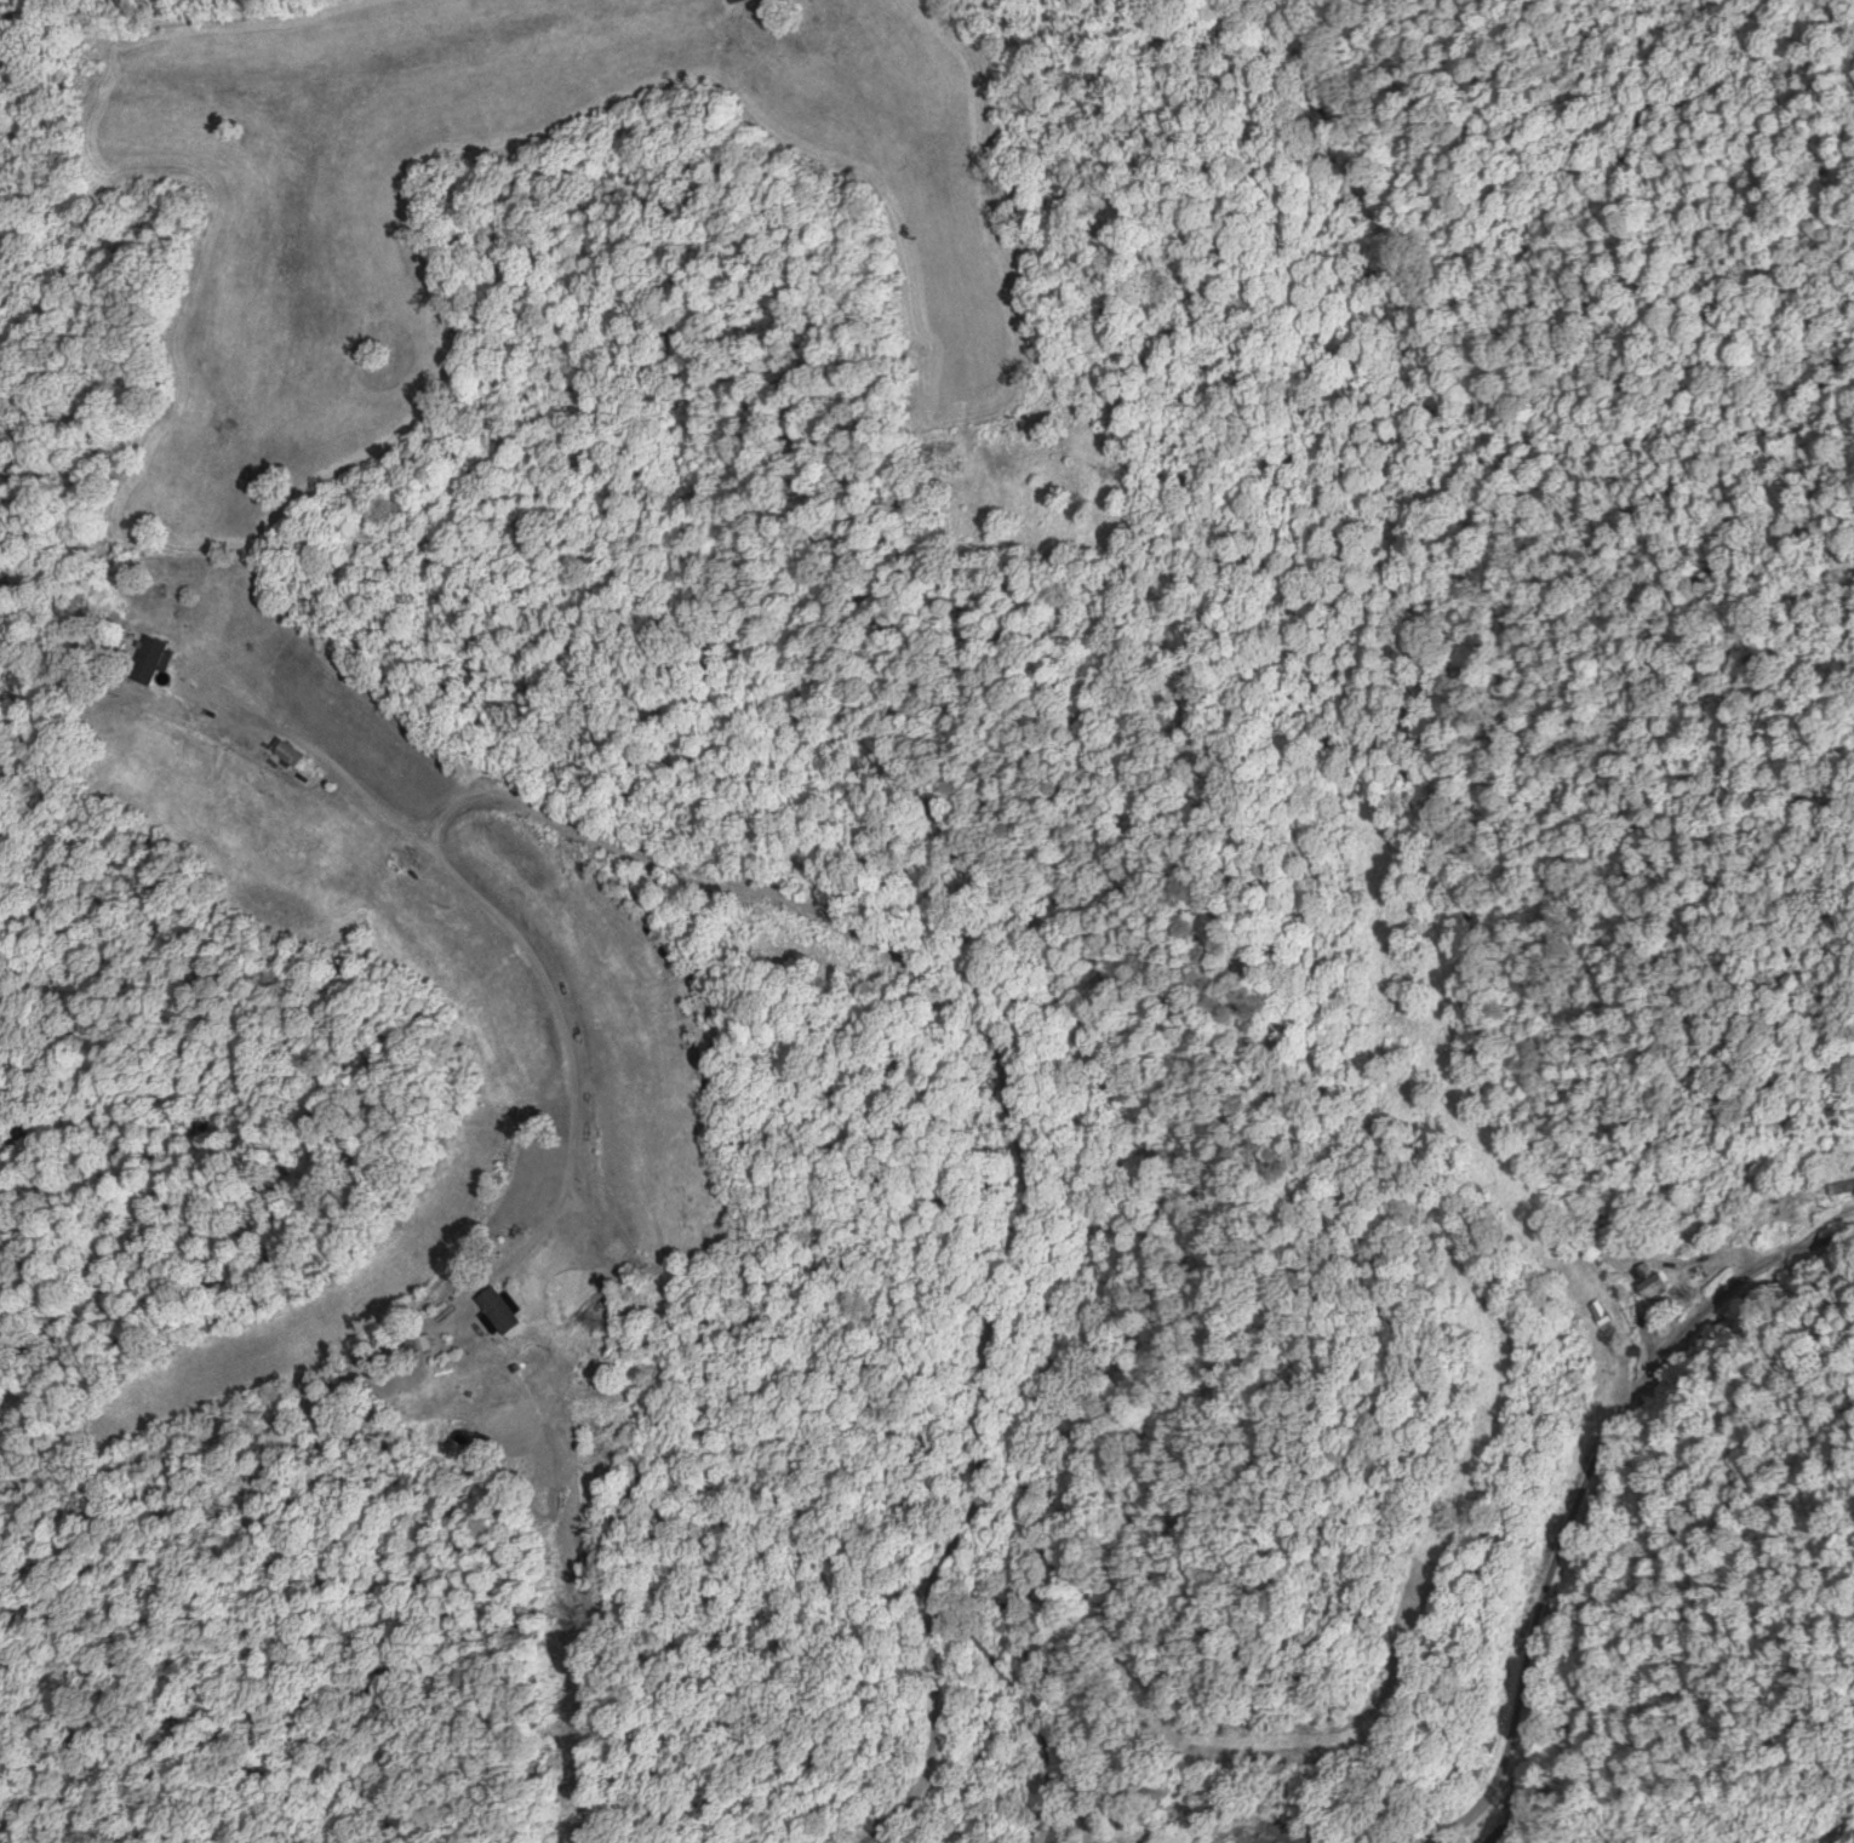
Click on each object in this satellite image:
building: (150, 660)
building: (1841, 1187)
building: (1647, 1280)
building: (496, 1310)
road: (1567, 1489)
building: (1046, 1828)
road: (34, 1833)

